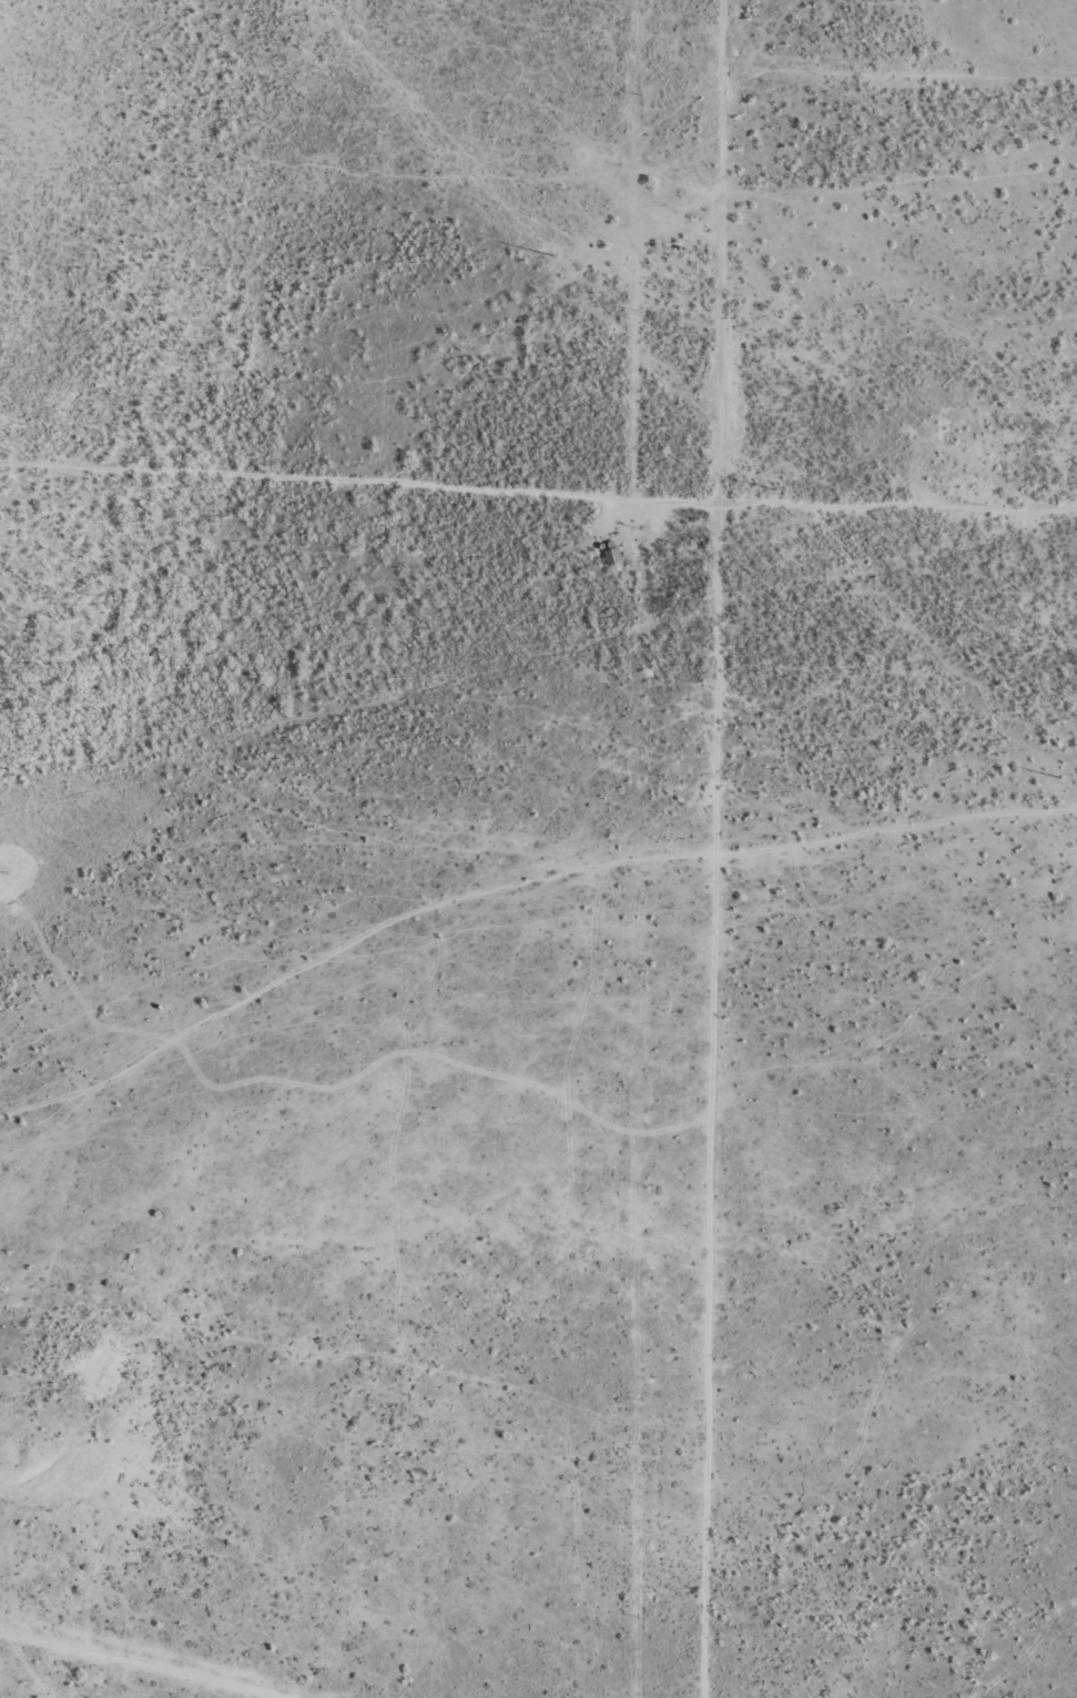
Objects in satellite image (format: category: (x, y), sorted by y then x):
power tower: (556, 256)
road: (1013, 469)
power tower: (776, 491)
power tower: (1061, 778)

